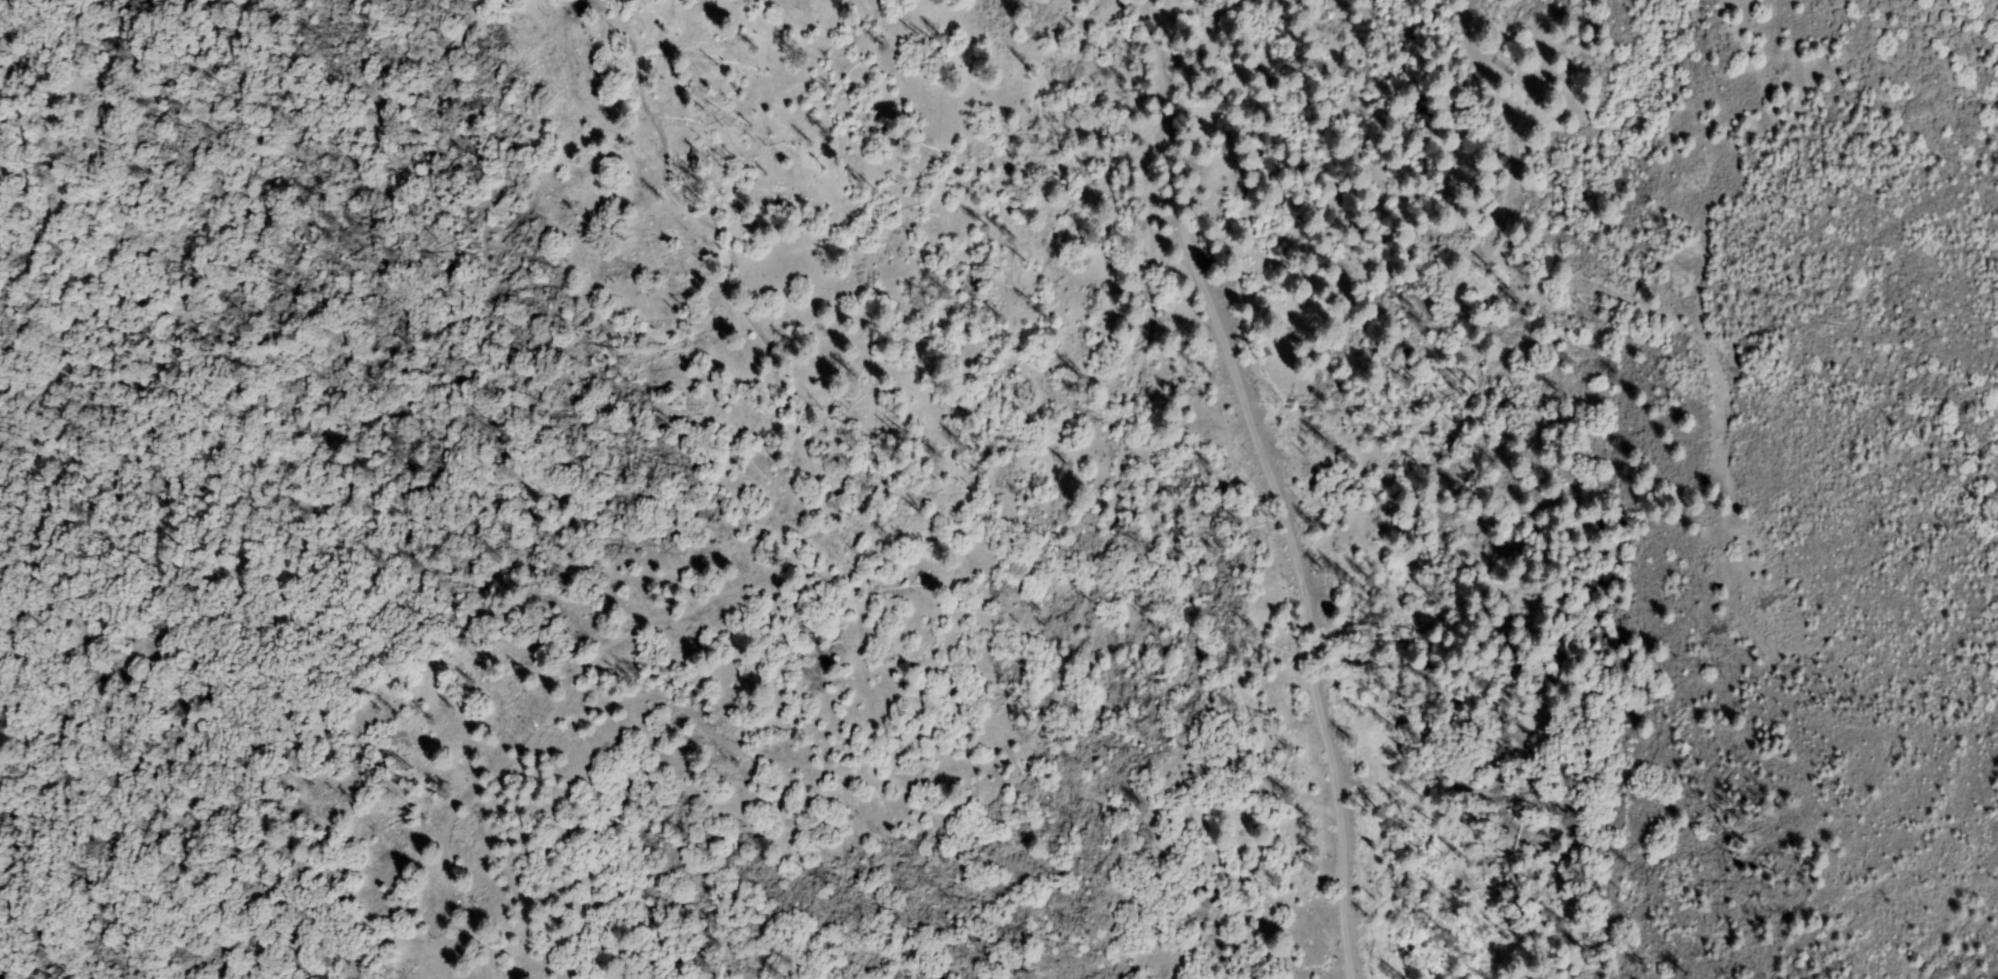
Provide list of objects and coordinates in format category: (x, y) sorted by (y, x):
road: (1538, 72)
road: (1273, 484)

